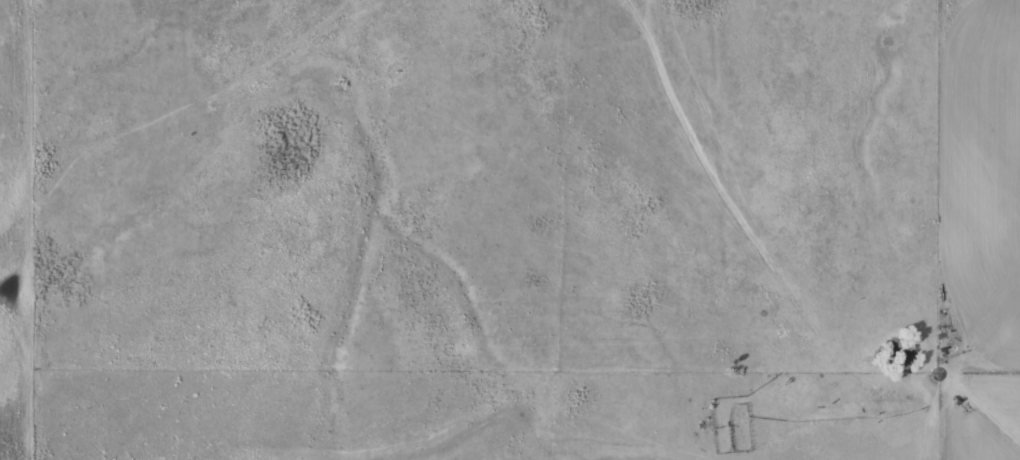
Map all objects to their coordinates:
road: (998, 440)

